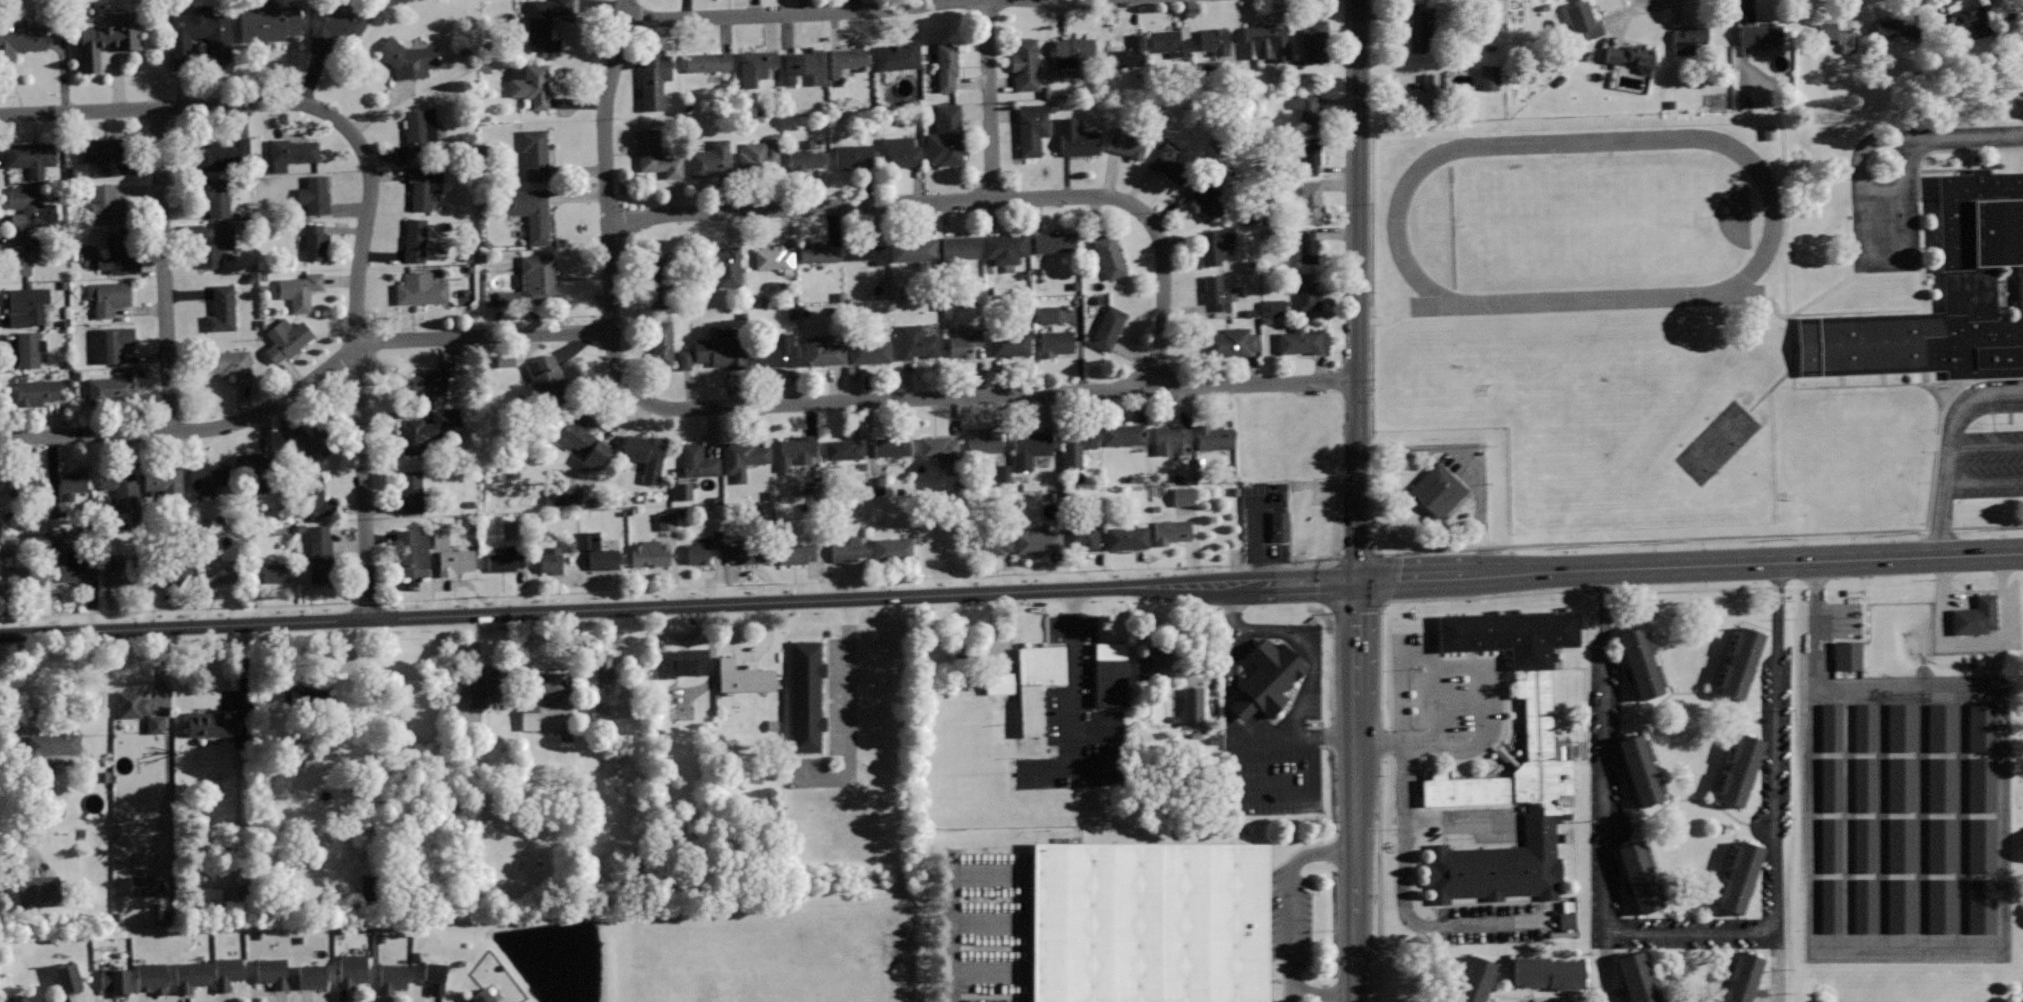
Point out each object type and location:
road: (1101, 0)
road: (793, 13)
building: (1583, 21)
building: (1970, 21)
building: (267, 22)
building: (544, 23)
building: (333, 24)
building: (1895, 29)
building: (1419, 32)
building: (1760, 34)
building: (1831, 34)
building: (22, 35)
building: (201, 37)
building: (108, 39)
building: (1316, 39)
building: (1688, 39)
building: (1171, 40)
building: (1214, 40)
building: (1265, 42)
building: (1072, 51)
building: (1129, 54)
building: (897, 55)
building: (1631, 56)
building: (409, 58)
building: (848, 58)
building: (706, 61)
building: (1025, 64)
building: (755, 66)
building: (804, 66)
building: (946, 66)
building: (1488, 77)
building: (654, 79)
building: (530, 82)
building: (1428, 93)
building: (1761, 98)
road: (989, 99)
road: (176, 107)
building: (1306, 107)
building: (1032, 128)
building: (420, 129)
building: (1767, 132)
road: (1968, 135)
building: (946, 136)
building: (1076, 138)
road: (1902, 140)
building: (1125, 143)
road: (1869, 143)
building: (223, 150)
building: (899, 151)
building: (292, 152)
building: (1307, 152)
building: (102, 153)
building: (535, 153)
building: (656, 155)
building: (30, 156)
building: (759, 156)
building: (852, 157)
building: (804, 158)
building: (710, 159)
building: (1167, 165)
building: (425, 186)
building: (314, 194)
building: (218, 197)
building: (1205, 199)
road: (968, 200)
building: (1307, 201)
road: (608, 202)
parking lot: (1884, 203)
building: (105, 204)
building: (31, 205)
building: (529, 212)
road: (1772, 219)
track: (1772, 219)
building: (415, 239)
building: (314, 240)
building: (207, 241)
building: (1055, 242)
building: (1216, 244)
building: (1005, 247)
building: (1309, 247)
building: (959, 248)
building: (914, 249)
building: (818, 251)
building: (866, 252)
building: (21, 253)
building: (117, 254)
building: (1109, 256)
building: (774, 259)
road: (1886, 260)
building: (723, 267)
road: (164, 269)
building: (532, 280)
building: (660, 286)
building: (421, 288)
building: (300, 290)
building: (1306, 291)
road: (1358, 291)
building: (1215, 292)
building: (1984, 294)
building: (108, 296)
building: (26, 304)
building: (222, 307)
building: (1274, 308)
building: (1046, 315)
building: (1108, 328)
building: (287, 338)
building: (1303, 339)
building: (965, 341)
building: (916, 342)
building: (1010, 342)
building: (1230, 342)
building: (111, 343)
building: (661, 343)
building: (1056, 343)
building: (29, 347)
building: (720, 349)
building: (823, 350)
building: (776, 351)
building: (869, 351)
building: (503, 360)
building: (682, 360)
building: (230, 364)
road: (358, 368)
building: (431, 380)
building: (548, 381)
road: (307, 384)
building: (109, 388)
building: (37, 391)
road: (999, 395)
building: (428, 429)
building: (1123, 434)
building: (1213, 437)
building: (311, 438)
building: (583, 438)
building: (1171, 440)
building: (984, 441)
park: (1714, 442)
building: (1076, 444)
building: (891, 447)
building: (1030, 448)
building: (844, 449)
parking lot: (1978, 449)
road: (1986, 449)
building: (796, 451)
building: (942, 451)
road: (1949, 452)
building: (645, 454)
building: (743, 458)
building: (698, 461)
building: (256, 462)
road: (1470, 465)
building: (206, 478)
building: (165, 480)
road: (1984, 480)
building: (120, 482)
building: (73, 483)
building: (22, 485)
building: (876, 485)
building: (1437, 489)
building: (411, 490)
building: (682, 491)
building: (311, 495)
building: (569, 495)
building: (1183, 496)
building: (665, 521)
building: (1280, 525)
building: (1171, 531)
building: (1081, 536)
building: (714, 538)
building: (1127, 538)
building: (438, 539)
road: (1259, 540)
building: (1039, 541)
building: (994, 543)
building: (568, 544)
building: (940, 545)
building: (893, 547)
building: (848, 548)
building: (320, 549)
building: (412, 552)
building: (598, 552)
building: (698, 552)
building: (748, 552)
building: (649, 553)
building: (796, 553)
building: (552, 558)
building: (505, 559)
building: (456, 561)
building: (74, 566)
building: (220, 571)
building: (271, 571)
building: (172, 572)
building: (122, 574)
building: (25, 575)
road: (1011, 591)
building: (1976, 616)
parking lot: (2008, 620)
road: (1231, 642)
road: (1971, 642)
road: (1308, 655)
building: (1848, 655)
building: (962, 659)
building: (1642, 659)
building: (1742, 659)
building: (681, 662)
building: (1151, 663)
road: (1451, 665)
building: (604, 668)
building: (1112, 672)
building: (744, 677)
building: (1267, 678)
road: (1074, 679)
building: (1036, 681)
building: (486, 682)
building: (998, 683)
building: (544, 685)
building: (805, 694)
building: (306, 697)
building: (131, 703)
road: (1440, 704)
building: (1192, 705)
parking lot: (823, 707)
road: (844, 710)
building: (596, 712)
building: (527, 717)
parking lot: (1271, 717)
parking lot: (1076, 718)
building: (208, 724)
building: (1831, 726)
building: (1866, 726)
building: (1943, 727)
building: (1984, 727)
building: (1902, 728)
road: (1298, 739)
building: (57, 742)
road: (1777, 748)
road: (1605, 751)
building: (1941, 755)
building: (1540, 759)
building: (1642, 764)
building: (1741, 766)
road: (1097, 769)
parking lot: (1402, 781)
building: (1834, 784)
building: (1903, 784)
building: (1945, 784)
building: (1984, 784)
building: (1865, 785)
road: (1358, 792)
road: (1251, 797)
parking lot: (1903, 807)
building: (1940, 815)
road: (1461, 819)
building: (1834, 845)
building: (1865, 845)
building: (1903, 845)
building: (1943, 845)
building: (1984, 845)
building: (1643, 872)
road: (990, 873)
building: (1742, 873)
building: (141, 886)
building: (35, 891)
building: (202, 897)
road: (1291, 898)
building: (1833, 904)
building: (1983, 904)
road: (1405, 905)
building: (1903, 905)
building: (1943, 905)
building: (1866, 906)
building: (1565, 920)
road: (990, 923)
parking lot: (990, 924)
building: (1154, 925)
road: (951, 928)
parking lot: (1297, 928)
road: (1691, 933)
road: (1938, 946)
road: (1607, 967)
road: (1776, 967)
building: (352, 969)
building: (1548, 969)
road: (990, 970)
building: (226, 972)
building: (272, 972)
building: (189, 976)
building: (312, 976)
building: (1640, 976)
building: (1742, 976)
building: (152, 977)
building: (392, 977)
building: (435, 977)
building: (1477, 978)
building: (68, 979)
building: (115, 981)
road: (1324, 994)
building: (481, 996)
building: (19, 998)
building: (2021, 999)

